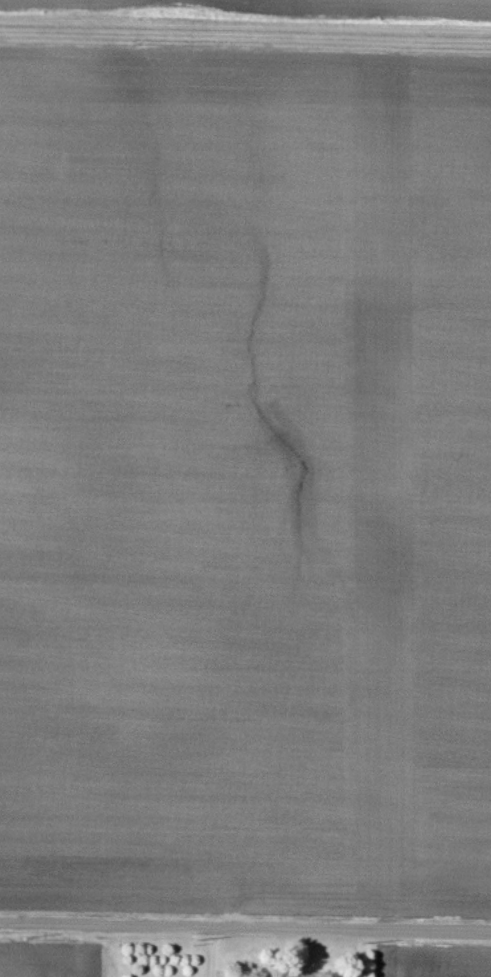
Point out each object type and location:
road: (245, 928)
road: (213, 952)

